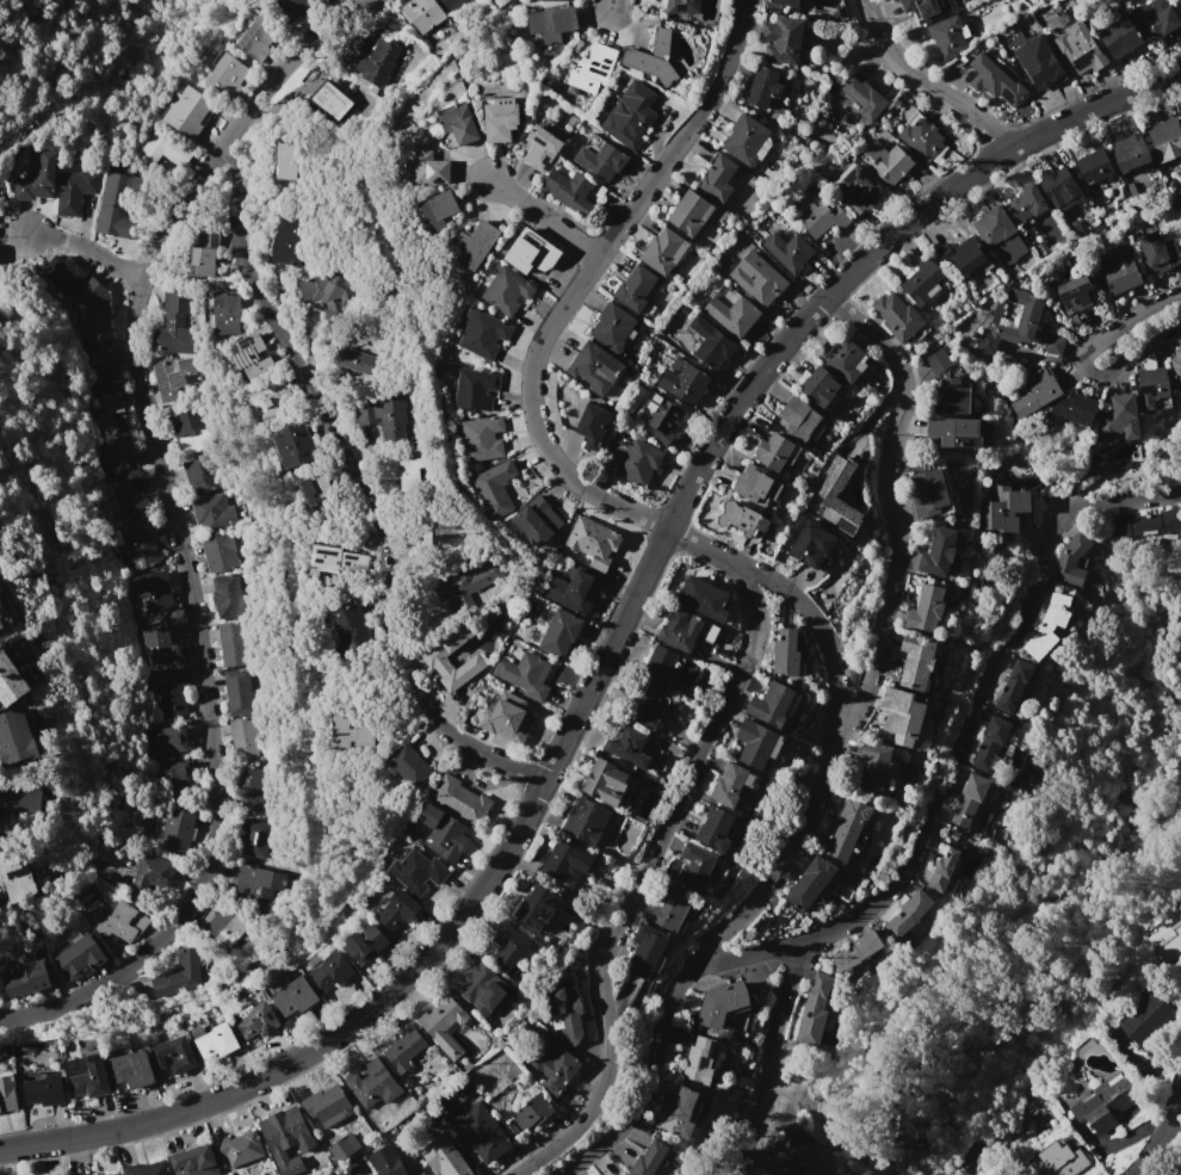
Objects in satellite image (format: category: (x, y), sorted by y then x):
building: (567, 0)
building: (796, 2)
building: (1179, 2)
building: (449, 4)
road: (611, 4)
building: (295, 6)
building: (682, 7)
building: (927, 8)
building: (421, 14)
building: (1155, 20)
building: (551, 23)
road: (737, 27)
building: (948, 36)
building: (258, 37)
building: (1119, 37)
building: (785, 41)
building: (1080, 48)
building: (653, 57)
building: (373, 62)
building: (1039, 62)
building: (592, 69)
building: (224, 75)
building: (995, 80)
road: (925, 84)
building: (766, 92)
building: (860, 99)
building: (332, 100)
building: (186, 110)
building: (630, 115)
building: (500, 119)
building: (459, 124)
building: (548, 125)
building: (920, 136)
building: (1165, 138)
building: (746, 140)
building: (540, 148)
building: (162, 149)
building: (1130, 151)
building: (599, 157)
building: (286, 160)
building: (886, 161)
building: (1093, 166)
building: (429, 168)
building: (36, 177)
building: (717, 178)
building: (1061, 188)
building: (74, 191)
building: (569, 191)
building: (855, 191)
building: (115, 203)
building: (1026, 203)
building: (435, 210)
building: (694, 212)
road: (543, 218)
building: (822, 218)
building: (998, 236)
building: (287, 237)
building: (472, 246)
road: (85, 248)
building: (662, 251)
building: (530, 252)
building: (787, 252)
building: (203, 253)
building: (1156, 253)
building: (964, 255)
building: (1119, 271)
building: (62, 272)
building: (756, 278)
building: (922, 282)
building: (507, 290)
building: (327, 291)
building: (637, 291)
building: (1074, 295)
building: (228, 311)
building: (89, 314)
building: (732, 314)
building: (898, 317)
building: (175, 321)
building: (1010, 322)
building: (616, 327)
road: (544, 332)
building: (482, 334)
building: (709, 344)
building: (1055, 345)
building: (251, 358)
building: (845, 359)
building: (359, 361)
building: (938, 361)
road: (1082, 361)
building: (1176, 367)
building: (599, 369)
building: (101, 370)
building: (174, 376)
building: (685, 383)
building: (820, 386)
building: (474, 389)
building: (1152, 389)
building: (1034, 395)
building: (271, 398)
building: (951, 400)
building: (1075, 410)
building: (110, 414)
building: (383, 415)
building: (661, 419)
building: (1119, 419)
building: (800, 420)
building: (592, 426)
building: (188, 428)
building: (959, 433)
building: (482, 438)
building: (293, 445)
building: (774, 452)
building: (119, 456)
building: (638, 462)
building: (410, 472)
building: (198, 474)
road: (353, 474)
building: (756, 486)
building: (830, 486)
building: (494, 488)
building: (315, 490)
building: (927, 493)
building: (131, 501)
building: (1004, 506)
building: (211, 513)
building: (746, 520)
building: (536, 521)
road: (896, 521)
building: (1146, 522)
road: (172, 525)
building: (446, 530)
building: (142, 540)
building: (593, 542)
building: (812, 543)
building: (939, 551)
building: (218, 552)
building: (1071, 558)
building: (334, 562)
building: (462, 582)
building: (571, 592)
building: (148, 594)
building: (225, 595)
building: (703, 598)
building: (926, 607)
building: (4, 614)
building: (350, 626)
building: (1047, 627)
building: (686, 630)
building: (559, 632)
road: (824, 641)
building: (230, 643)
building: (160, 645)
road: (607, 645)
building: (785, 651)
building: (435, 661)
building: (916, 661)
building: (658, 666)
building: (525, 674)
building: (10, 681)
road: (984, 681)
building: (1013, 686)
building: (168, 691)
building: (236, 692)
building: (769, 706)
building: (645, 707)
building: (902, 716)
building: (508, 719)
building: (348, 732)
building: (14, 737)
building: (242, 740)
building: (990, 741)
building: (165, 742)
building: (754, 746)
building: (629, 748)
building: (1001, 755)
building: (409, 763)
building: (873, 767)
building: (172, 777)
building: (1034, 778)
building: (606, 783)
building: (246, 787)
building: (728, 787)
building: (20, 796)
building: (460, 799)
building: (969, 800)
building: (586, 821)
building: (178, 823)
building: (847, 829)
building: (715, 830)
building: (440, 831)
building: (251, 837)
building: (563, 861)
building: (695, 867)
building: (154, 871)
building: (418, 871)
building: (941, 871)
road: (641, 872)
building: (16, 880)
building: (809, 884)
building: (260, 885)
building: (86, 895)
building: (670, 907)
building: (536, 908)
building: (397, 910)
building: (908, 914)
building: (117, 921)
building: (235, 927)
building: (1163, 942)
building: (366, 944)
building: (507, 947)
building: (643, 951)
building: (857, 951)
road: (743, 952)
building: (79, 957)
building: (333, 970)
road: (681, 970)
building: (24, 975)
building: (180, 975)
building: (476, 983)
building: (302, 992)
building: (284, 1002)
building: (721, 1003)
building: (563, 1008)
building: (814, 1009)
building: (1145, 1016)
building: (256, 1021)
building: (444, 1024)
building: (217, 1040)
building: (404, 1047)
road: (767, 1047)
building: (173, 1055)
building: (699, 1060)
building: (554, 1068)
building: (131, 1069)
building: (86, 1076)
building: (373, 1084)
building: (44, 1090)
building: (7, 1094)
building: (327, 1105)
building: (1105, 1105)
building: (533, 1112)
building: (680, 1112)
road: (1162, 1136)
building: (286, 1137)
building: (490, 1144)
building: (344, 1146)
building: (239, 1149)
building: (793, 1150)
building: (443, 1157)
building: (648, 1157)
building: (1058, 1159)
building: (194, 1161)
building: (387, 1161)
building: (148, 1169)
road: (1173, 1173)
building: (88, 1174)
building: (117, 1174)
building: (614, 1174)

